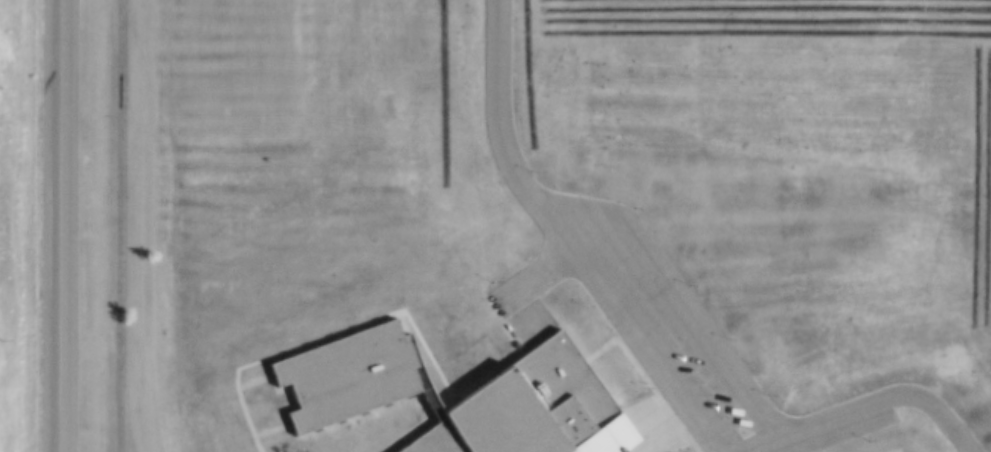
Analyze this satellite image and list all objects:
road: (59, 226)
road: (138, 226)
road: (539, 274)
road: (680, 295)
parking lot: (703, 351)
road: (654, 360)
road: (648, 376)
building: (356, 382)
road: (243, 402)
road: (272, 427)
road: (654, 439)
road: (899, 450)

